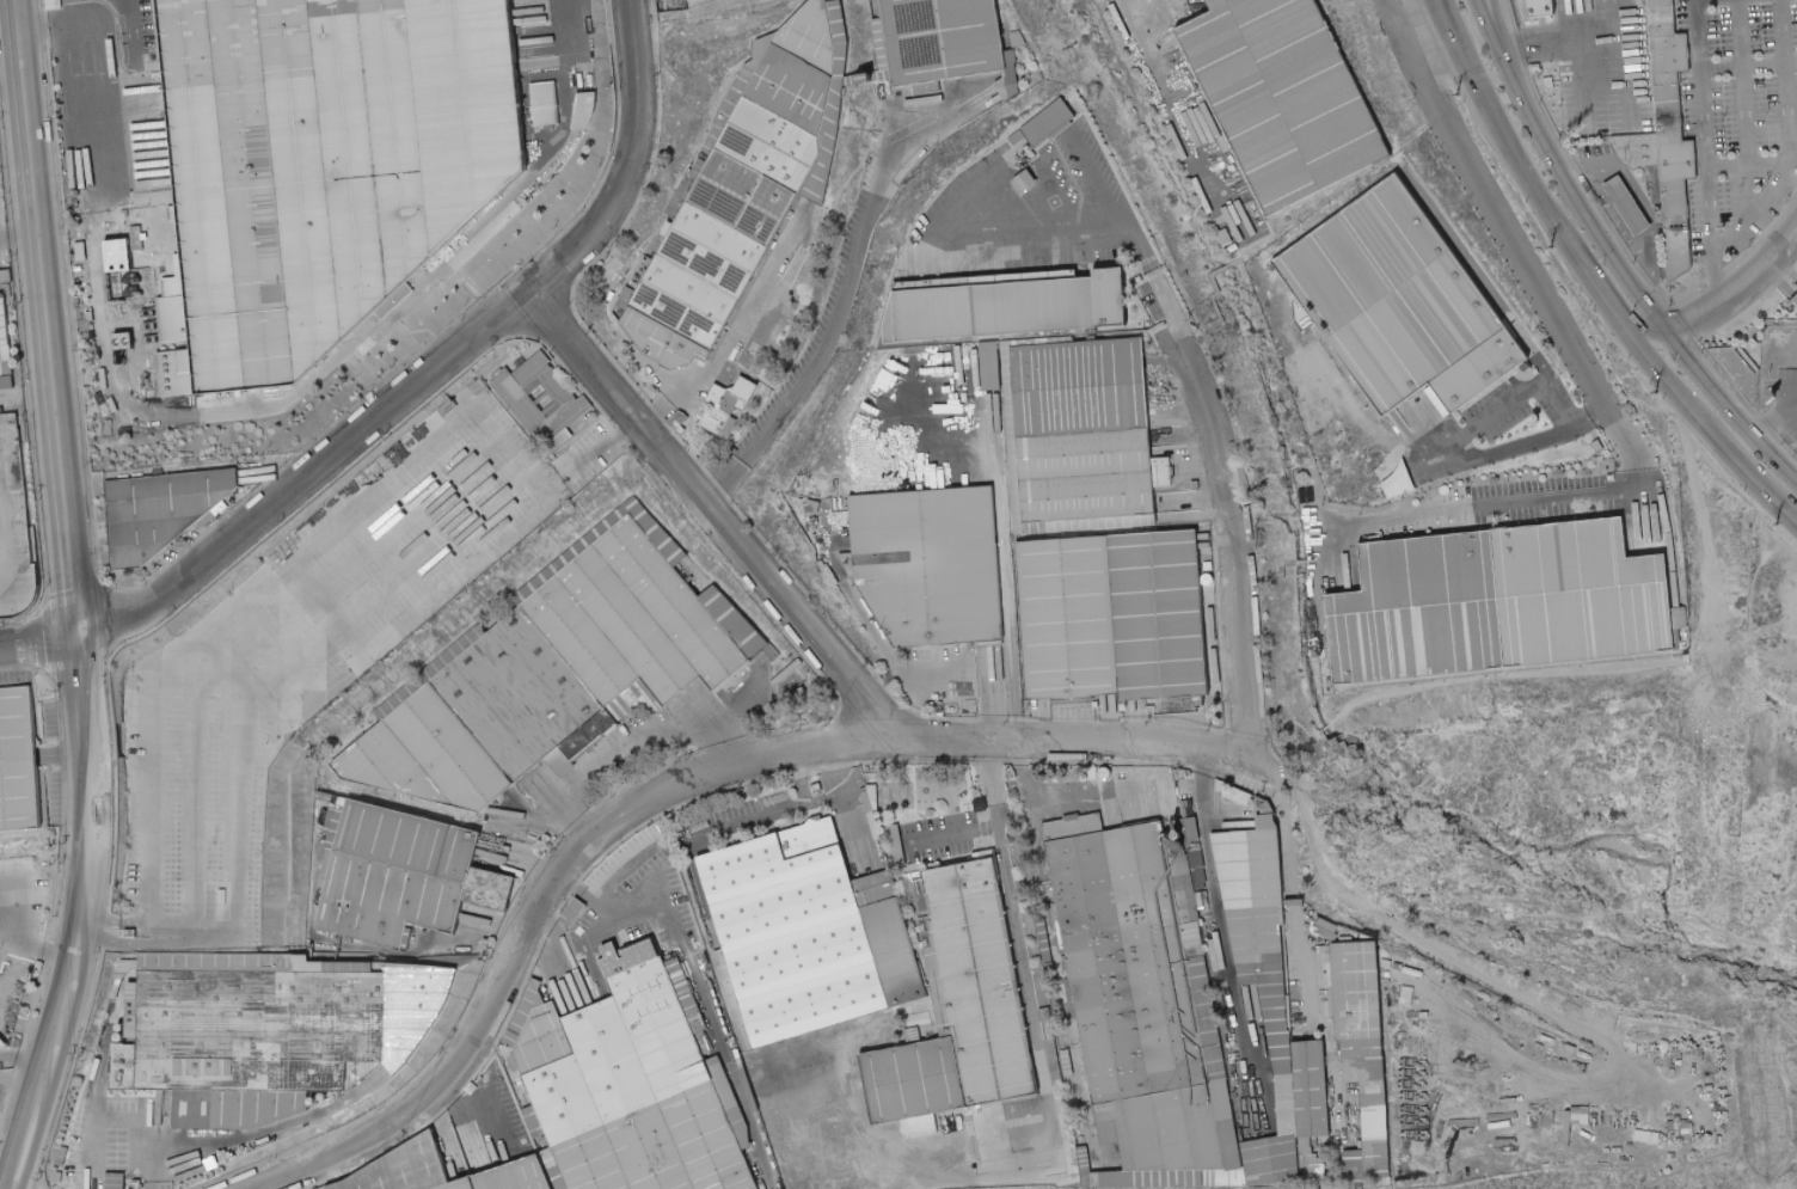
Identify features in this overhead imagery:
power tower: (1455, 94)
gas station: (1621, 203)
power tower: (1551, 246)
power tower: (1656, 392)
power tower: (1777, 523)

